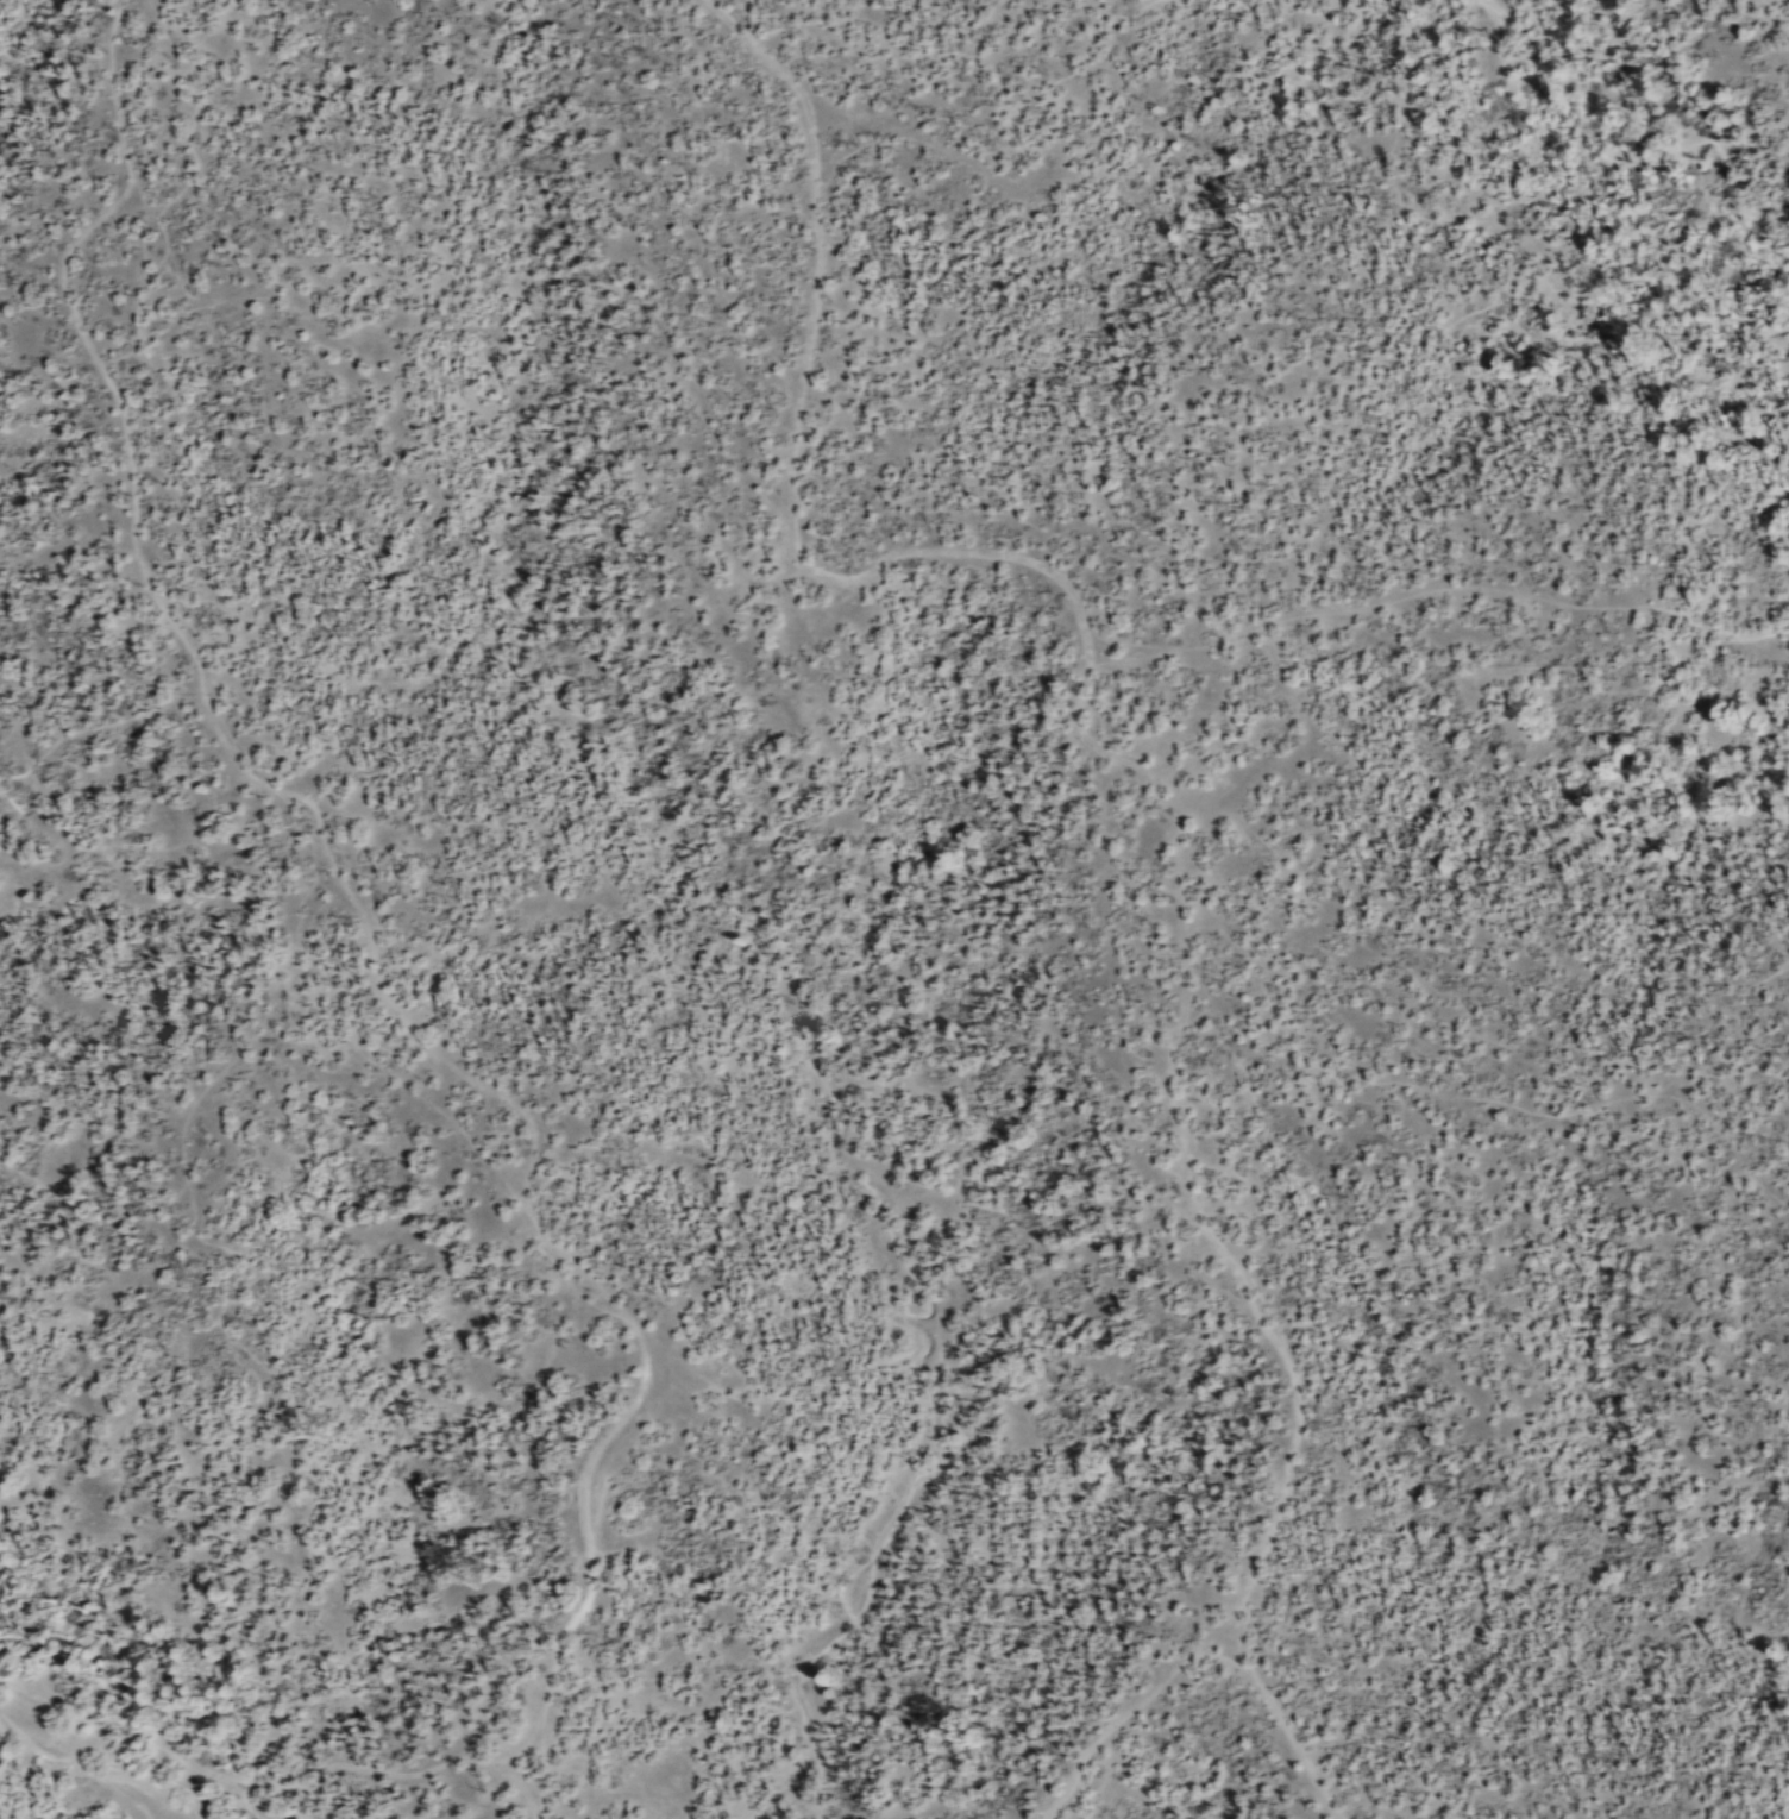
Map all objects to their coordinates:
road: (357, 901)
road: (249, 1779)

